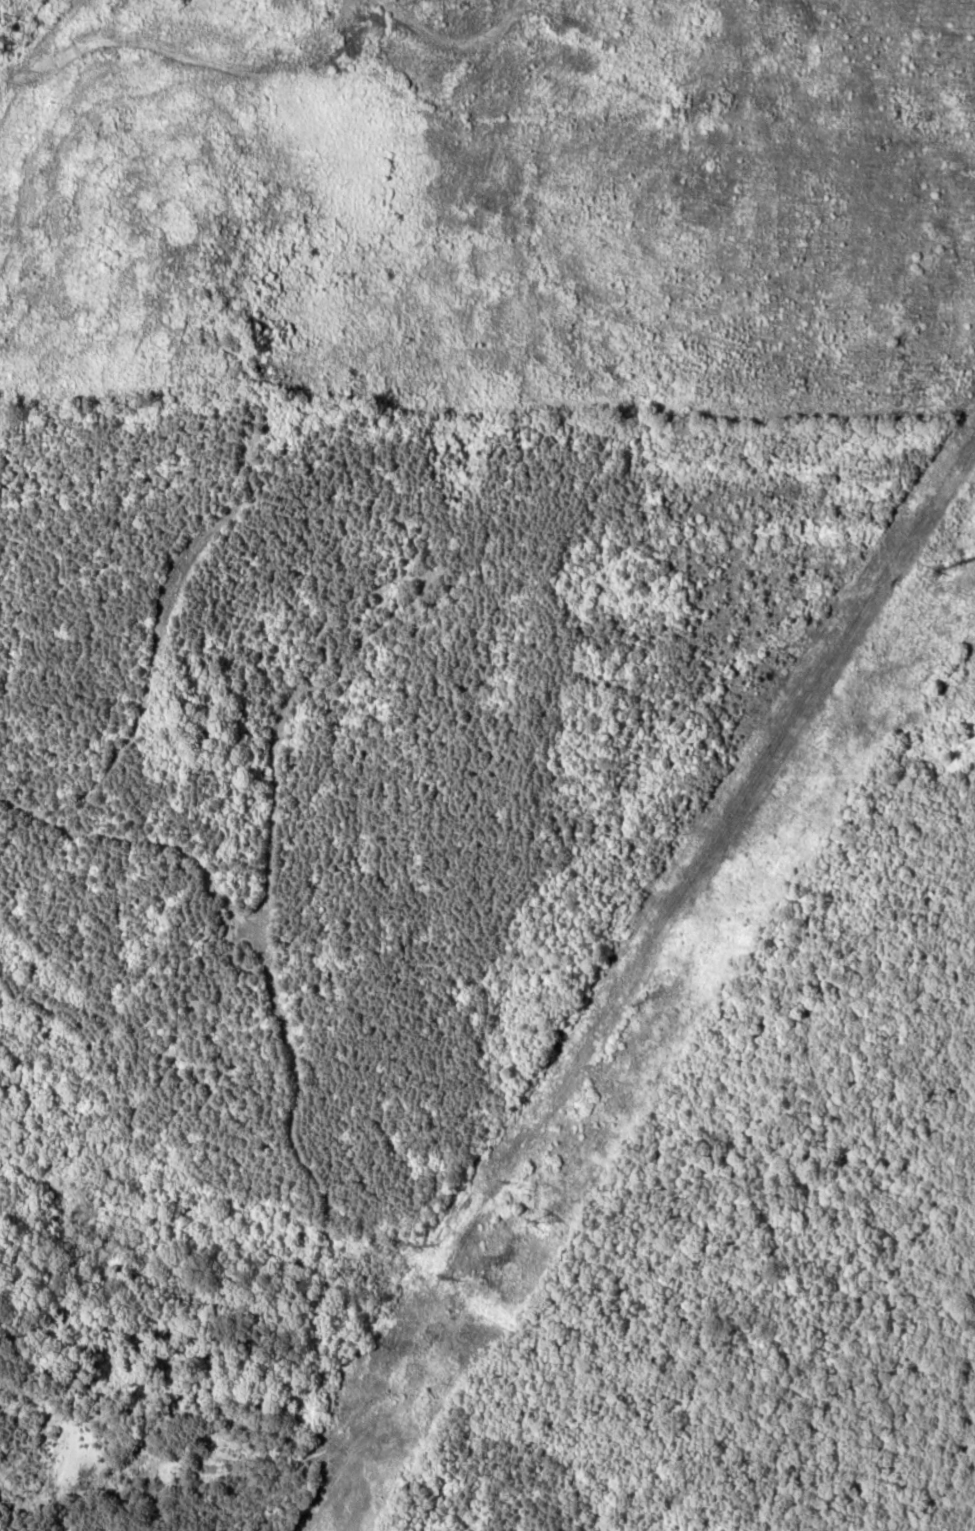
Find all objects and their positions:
power tower: (538, 1220)

